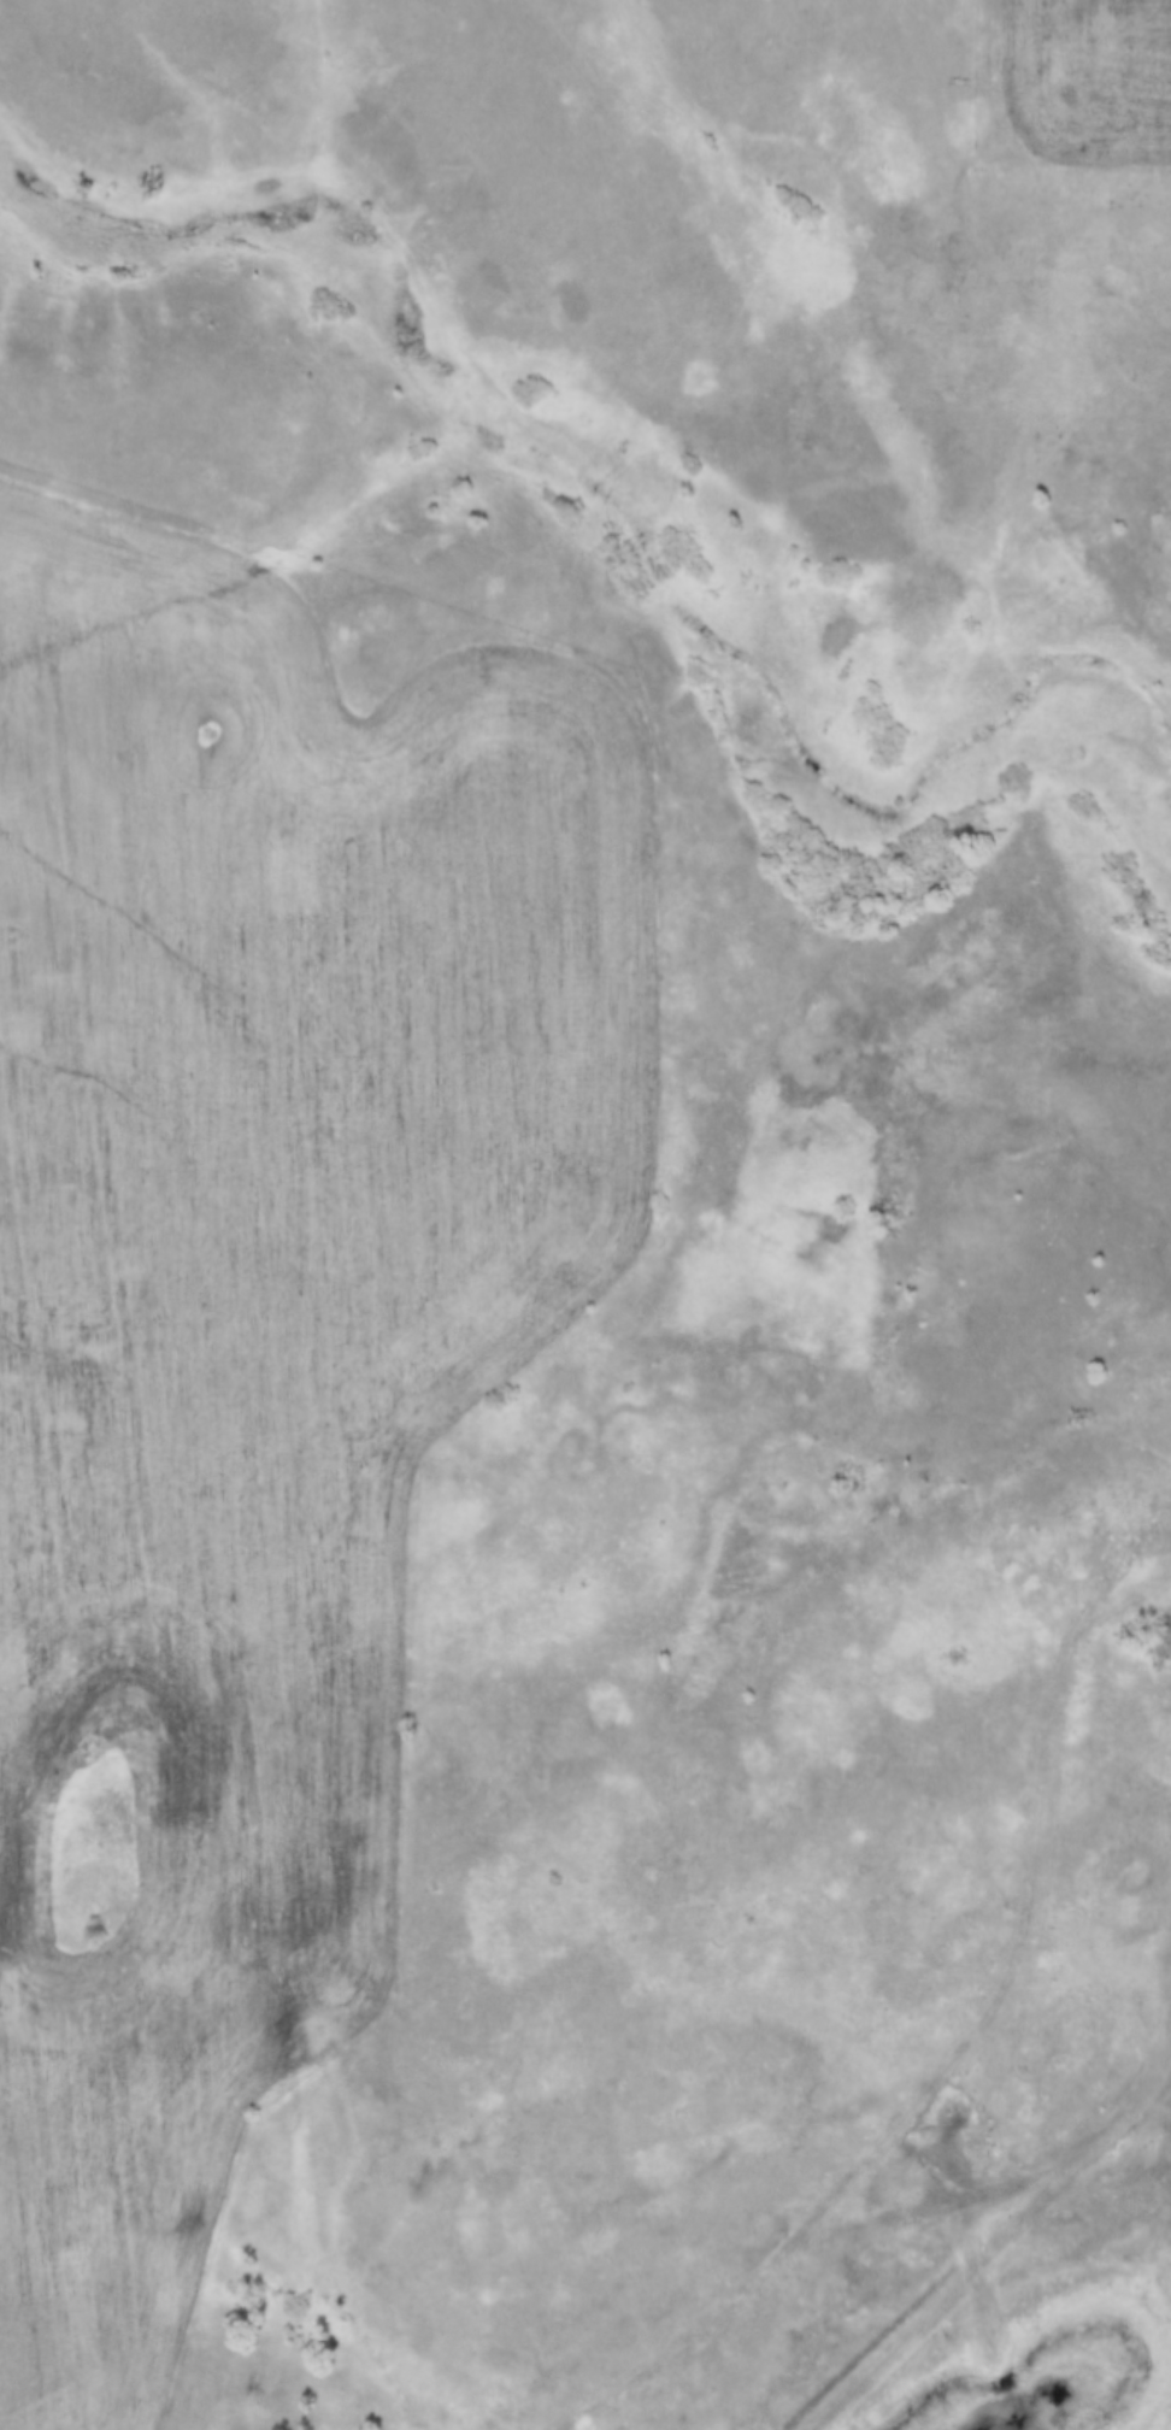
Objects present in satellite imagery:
road: (998, 69)
road: (1169, 2053)
road: (871, 2224)

